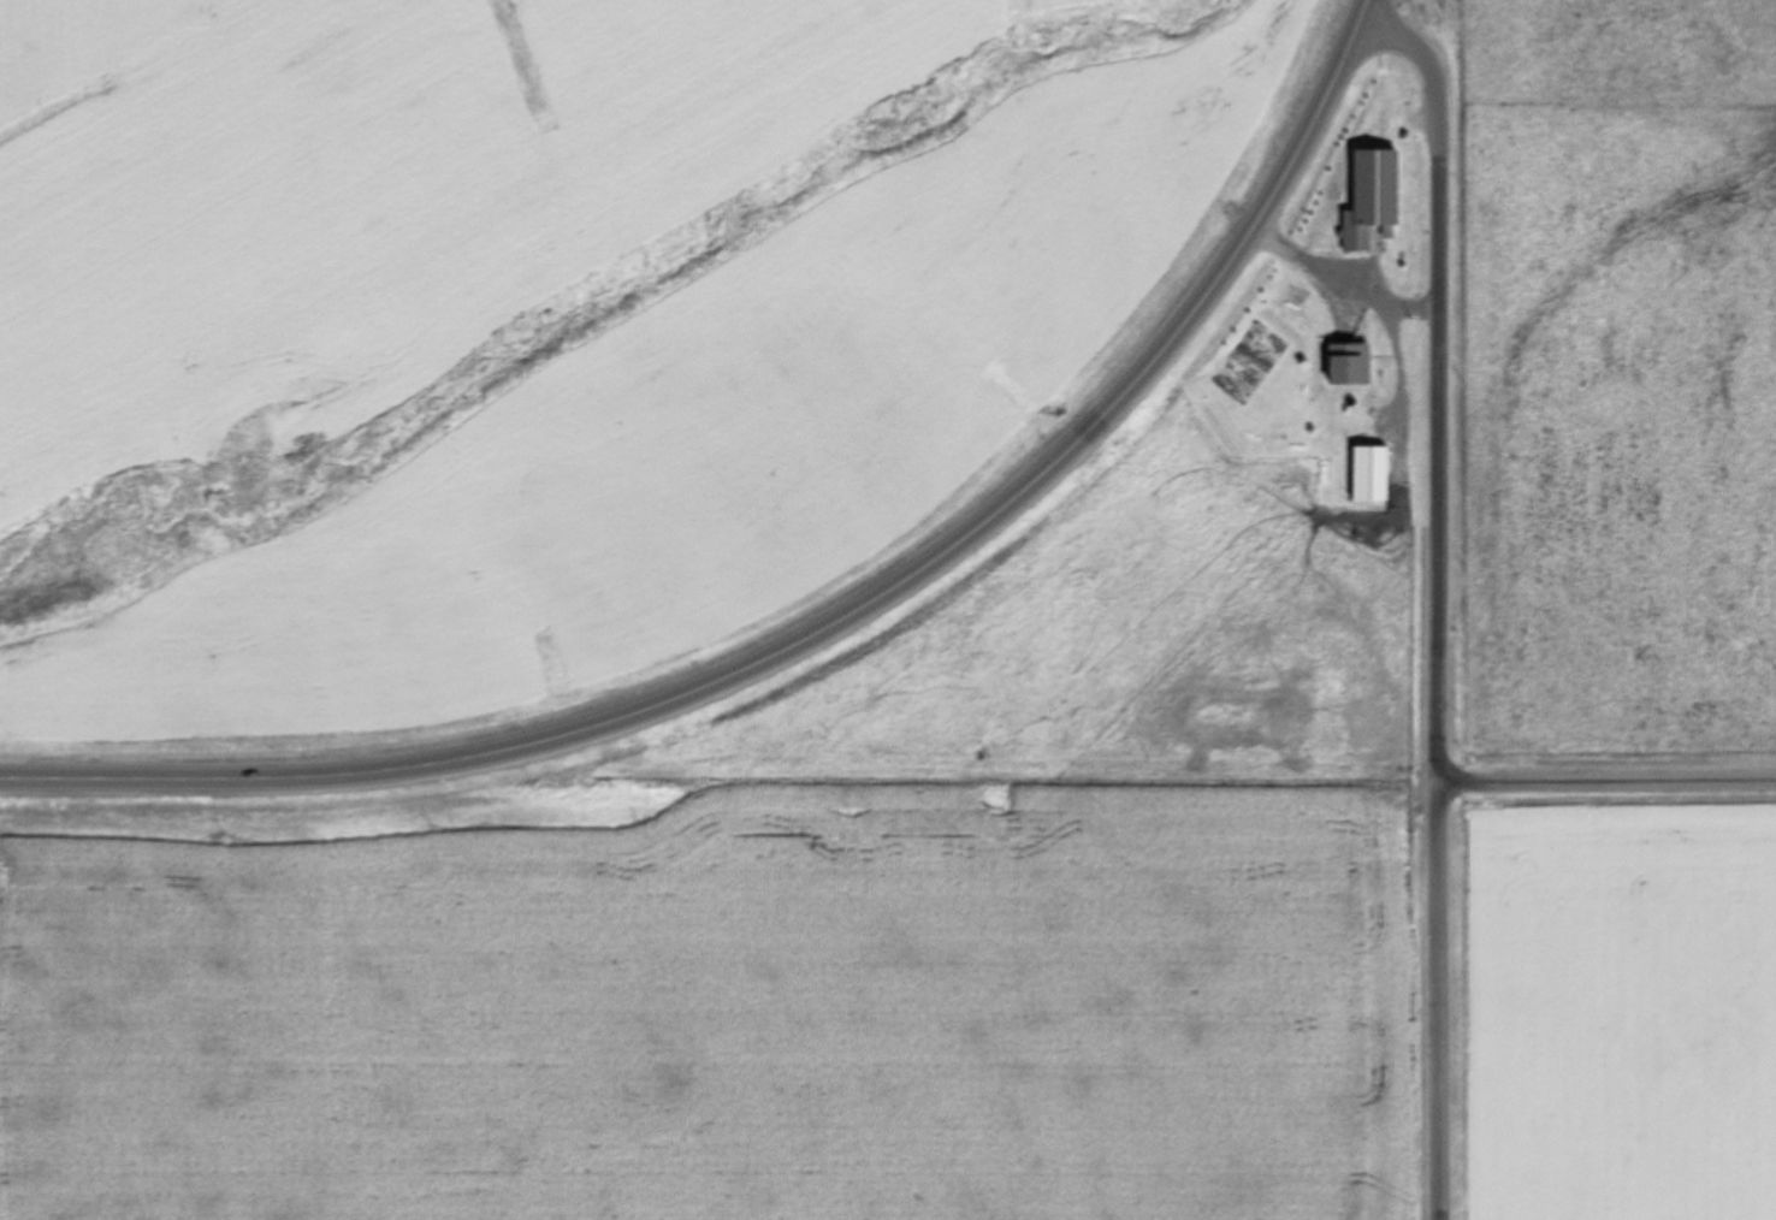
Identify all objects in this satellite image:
building: (1369, 197)
building: (1295, 298)
building: (1367, 373)
road: (1438, 609)
road: (825, 630)
road: (1008, 782)
road: (1606, 782)

